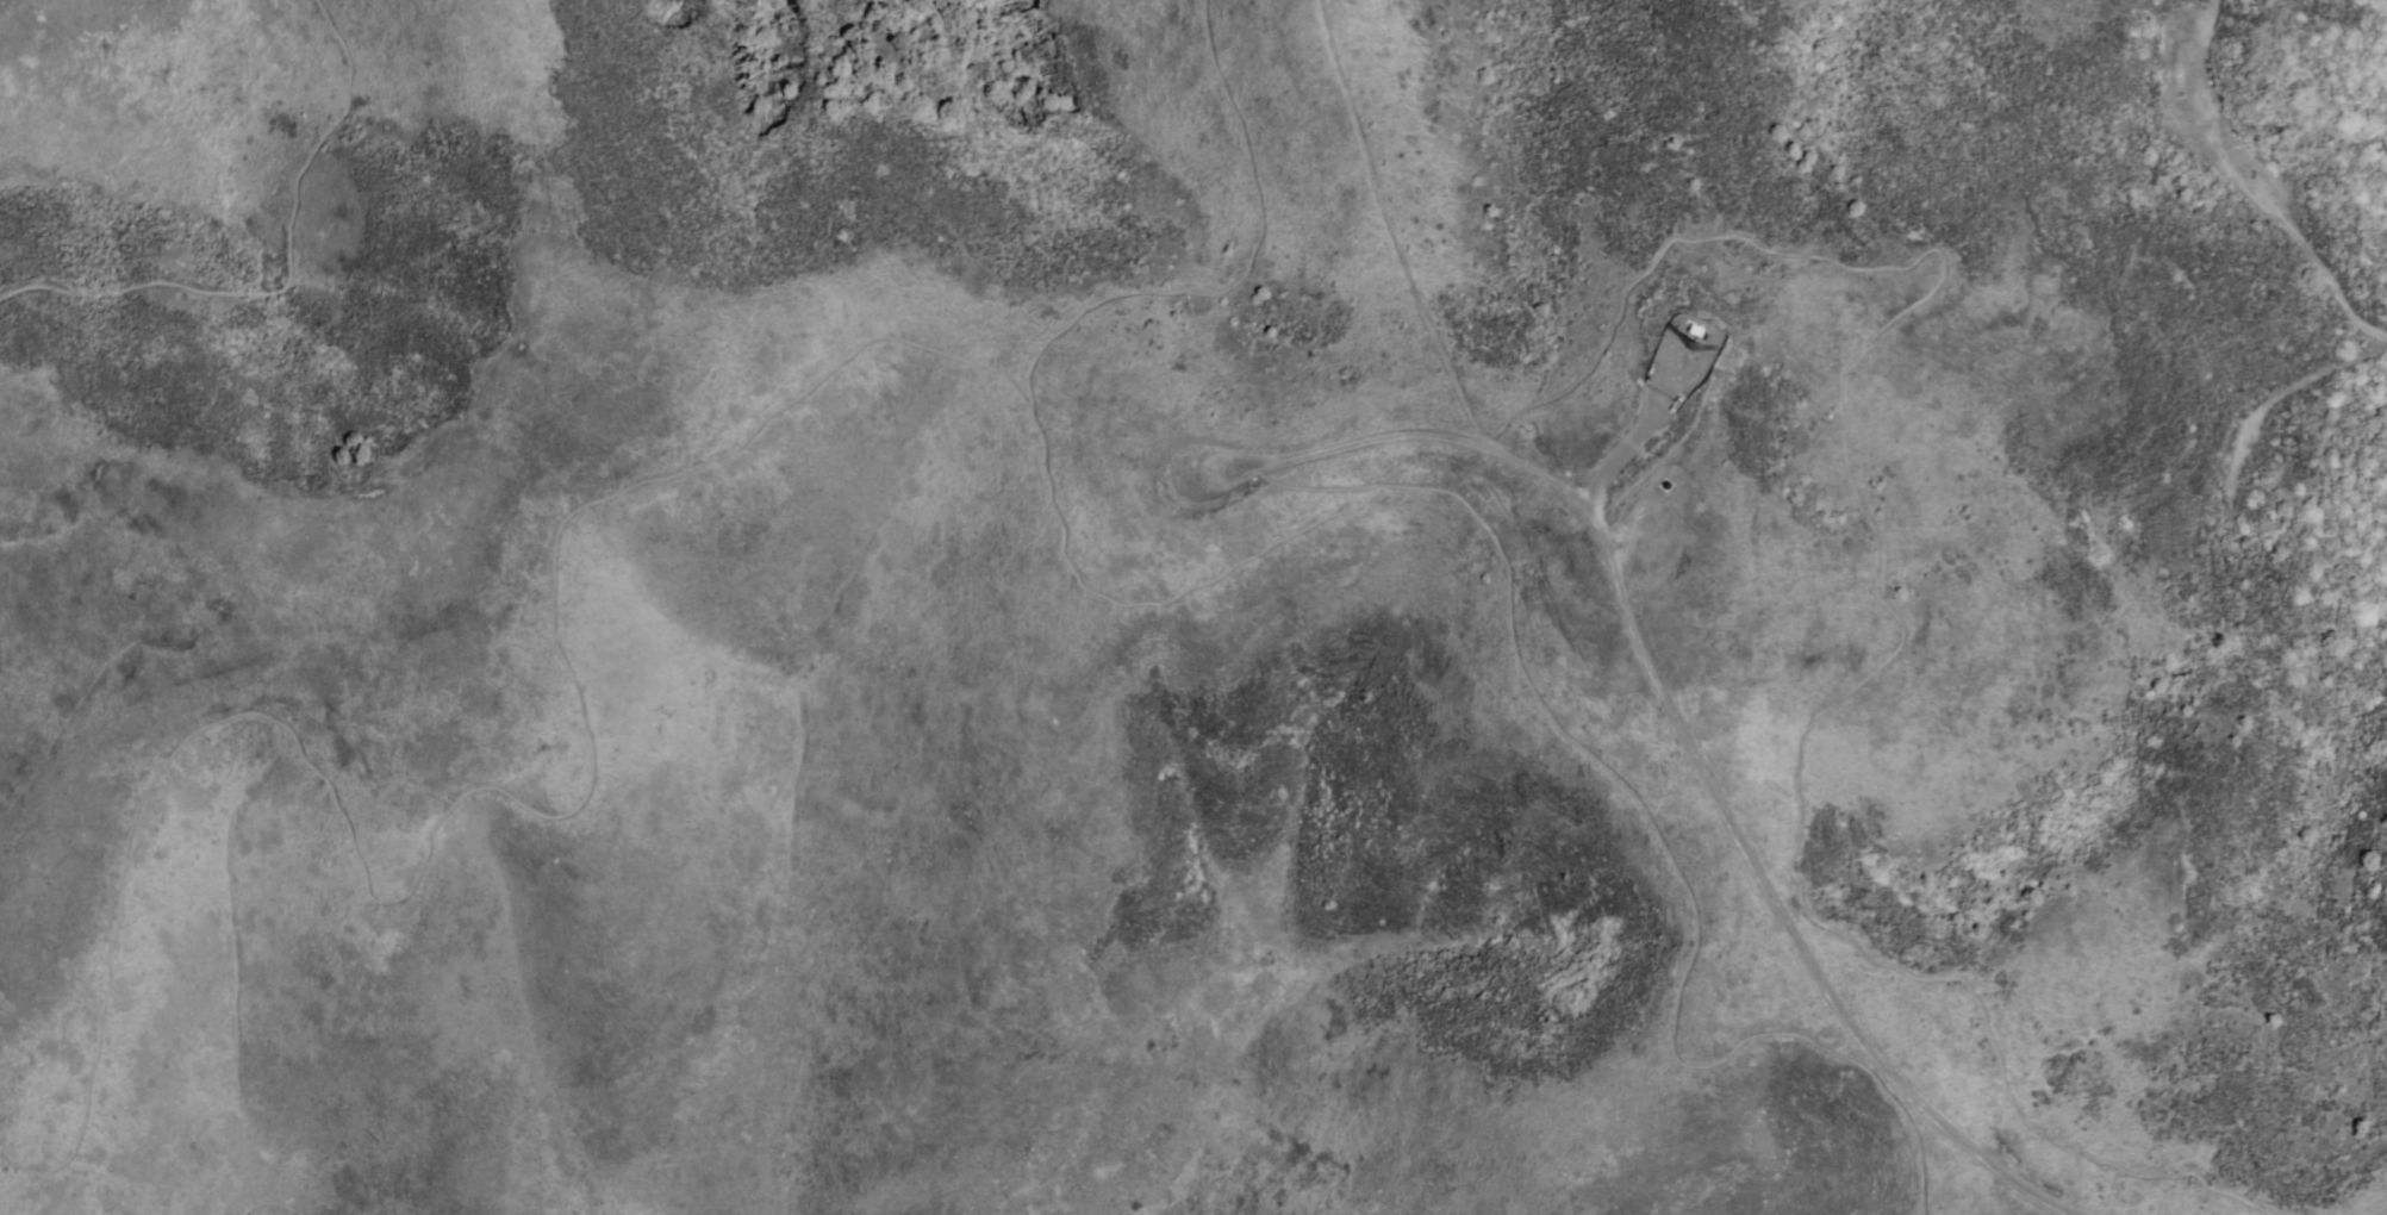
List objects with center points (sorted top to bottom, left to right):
road: (2252, 189)
road: (2295, 385)

